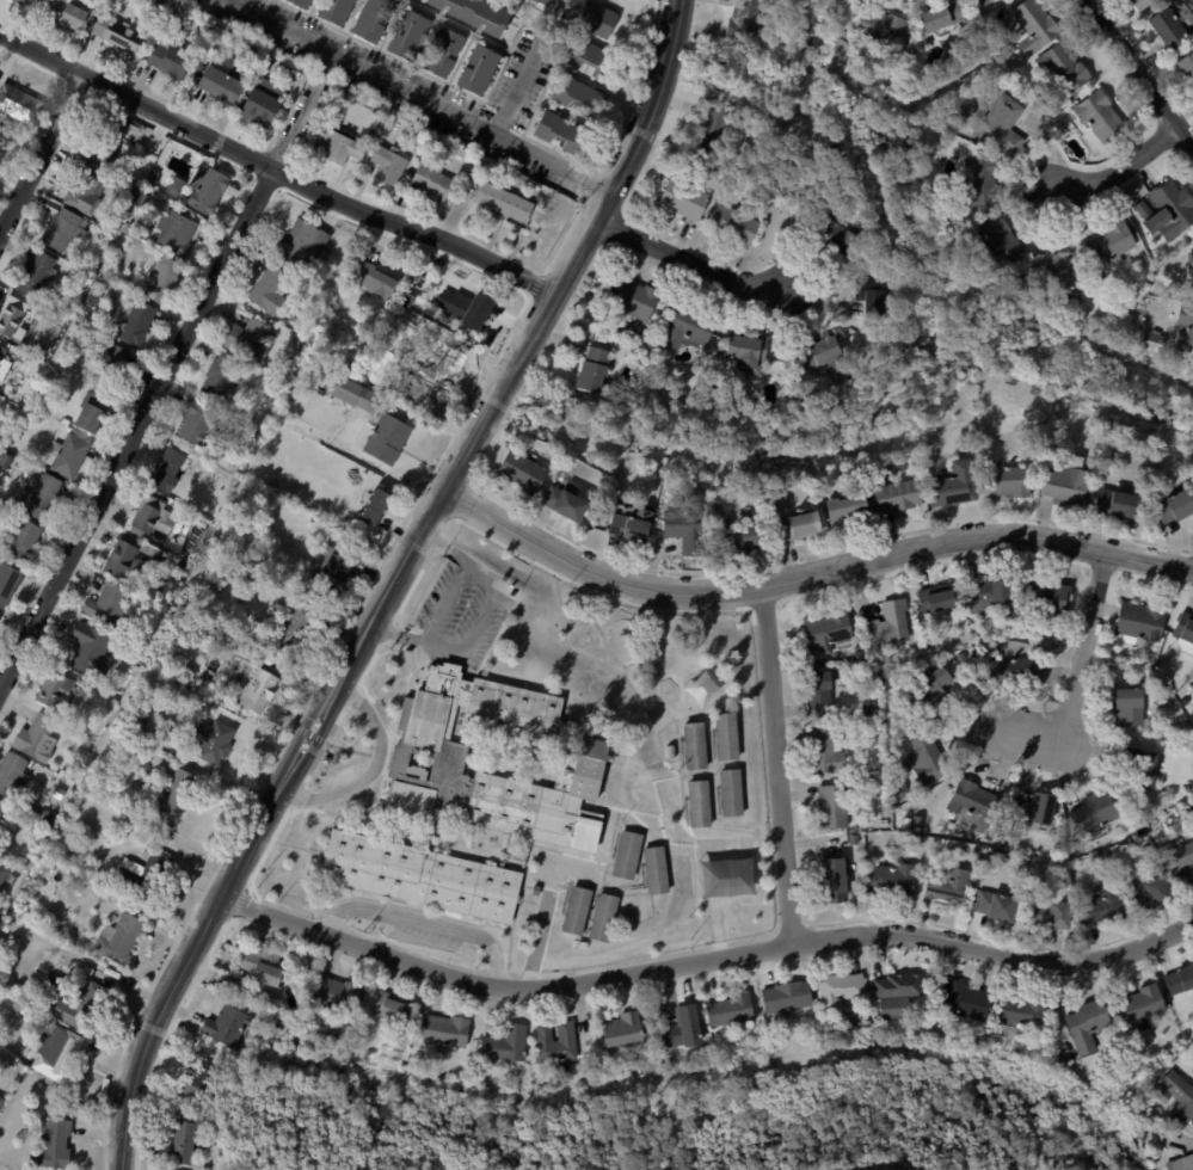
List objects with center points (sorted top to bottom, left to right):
building: (982, 0)
building: (543, 1)
building: (23, 2)
building: (300, 2)
building: (1142, 4)
road: (242, 5)
building: (334, 11)
building: (63, 13)
building: (474, 14)
building: (942, 14)
building: (591, 17)
building: (745, 18)
building: (373, 19)
building: (238, 25)
building: (1033, 25)
building: (1170, 25)
building: (878, 30)
building: (115, 33)
building: (408, 36)
building: (931, 38)
building: (805, 42)
building: (442, 51)
building: (1019, 53)
building: (838, 57)
building: (592, 60)
building: (168, 62)
building: (270, 66)
building: (1063, 66)
building: (1187, 66)
building: (478, 69)
road: (1137, 72)
building: (220, 84)
road: (521, 90)
road: (416, 97)
building: (578, 97)
building: (262, 103)
building: (18, 104)
building: (1100, 115)
building: (485, 116)
building: (996, 121)
building: (713, 122)
building: (32, 129)
building: (562, 133)
building: (104, 143)
building: (336, 147)
building: (0, 152)
road: (41, 154)
building: (387, 165)
road: (1124, 167)
road: (272, 171)
building: (152, 177)
building: (799, 179)
building: (980, 179)
building: (430, 180)
building: (174, 185)
building: (150, 187)
building: (84, 191)
building: (204, 191)
building: (407, 193)
building: (683, 198)
building: (140, 201)
building: (503, 202)
building: (128, 204)
building: (49, 207)
building: (1168, 209)
building: (133, 210)
building: (733, 226)
building: (125, 227)
building: (62, 230)
building: (172, 234)
building: (842, 234)
building: (303, 241)
building: (1001, 241)
building: (1111, 242)
road: (576, 250)
building: (111, 251)
road: (690, 255)
building: (1057, 269)
building: (1192, 272)
building: (36, 275)
building: (373, 278)
building: (160, 281)
building: (100, 285)
building: (269, 288)
building: (869, 294)
building: (633, 297)
building: (465, 306)
building: (1131, 308)
building: (17, 314)
building: (134, 322)
building: (688, 325)
building: (608, 326)
building: (1186, 327)
building: (246, 335)
building: (660, 337)
building: (602, 338)
building: (1152, 339)
building: (746, 350)
building: (818, 351)
building: (1, 353)
building: (20, 358)
building: (106, 365)
building: (4, 369)
building: (592, 369)
building: (217, 375)
road: (160, 387)
building: (351, 392)
building: (90, 413)
building: (64, 421)
building: (197, 423)
building: (386, 438)
building: (14, 439)
building: (1163, 447)
building: (553, 455)
building: (67, 456)
building: (166, 469)
building: (1094, 469)
building: (522, 473)
building: (1107, 473)
building: (622, 474)
building: (1065, 479)
building: (1007, 480)
building: (952, 482)
building: (720, 488)
building: (619, 494)
building: (752, 494)
building: (897, 495)
building: (39, 499)
building: (562, 500)
building: (1117, 500)
building: (373, 504)
building: (1174, 505)
building: (750, 510)
building: (847, 510)
building: (147, 515)
building: (632, 522)
building: (687, 524)
building: (795, 525)
building: (733, 535)
building: (20, 542)
building: (117, 558)
building: (182, 566)
building: (331, 567)
road: (812, 572)
building: (7, 584)
building: (986, 593)
building: (935, 597)
building: (1045, 597)
road: (448, 604)
building: (107, 605)
parking lot: (461, 614)
building: (178, 615)
building: (239, 620)
building: (1140, 621)
road: (481, 622)
building: (890, 624)
building: (296, 626)
building: (826, 629)
building: (1185, 633)
building: (143, 641)
building: (91, 651)
building: (859, 654)
building: (1013, 667)
road: (1078, 673)
building: (1152, 679)
building: (254, 684)
building: (931, 686)
building: (170, 688)
building: (55, 691)
building: (818, 692)
building: (892, 697)
building: (872, 698)
building: (1186, 701)
building: (1129, 706)
building: (869, 709)
building: (725, 735)
building: (36, 739)
building: (208, 741)
building: (694, 745)
building: (671, 751)
building: (826, 751)
building: (325, 759)
building: (927, 759)
road: (779, 764)
building: (1139, 768)
building: (11, 774)
road: (371, 774)
park: (652, 782)
building: (1188, 788)
parking lot: (344, 790)
building: (730, 792)
building: (172, 795)
building: (471, 795)
building: (14, 802)
building: (697, 803)
building: (972, 805)
building: (834, 806)
building: (1, 807)
building: (26, 807)
building: (1033, 809)
building: (42, 813)
building: (1093, 813)
building: (884, 814)
building: (68, 818)
road: (262, 823)
building: (885, 823)
building: (1, 824)
building: (906, 824)
building: (1004, 838)
building: (854, 839)
building: (1014, 840)
building: (1148, 849)
building: (626, 855)
building: (1179, 866)
building: (653, 869)
building: (2, 873)
building: (143, 873)
building: (832, 880)
building: (891, 881)
building: (947, 886)
building: (534, 889)
building: (1149, 892)
building: (1089, 894)
building: (996, 905)
building: (1101, 905)
building: (574, 910)
building: (1051, 913)
building: (602, 918)
road: (424, 924)
road: (717, 929)
building: (117, 938)
parking lot: (424, 938)
road: (537, 943)
road: (703, 960)
building: (86, 971)
building: (263, 971)
building: (1180, 980)
building: (236, 985)
building: (897, 986)
building: (841, 991)
building: (334, 997)
building: (783, 999)
building: (966, 1000)
building: (81, 1006)
building: (1140, 1006)
building: (391, 1009)
building: (728, 1011)
building: (1020, 1012)
building: (1086, 1024)
building: (225, 1027)
building: (682, 1028)
building: (621, 1029)
building: (444, 1030)
building: (554, 1043)
building: (504, 1046)
building: (54, 1051)
building: (605, 1058)
building: (598, 1069)
building: (375, 1071)
building: (191, 1083)
building: (1163, 1095)
building: (1179, 1098)
building: (0, 1100)
building: (33, 1104)
building: (178, 1143)
building: (51, 1146)
building: (1180, 1162)

